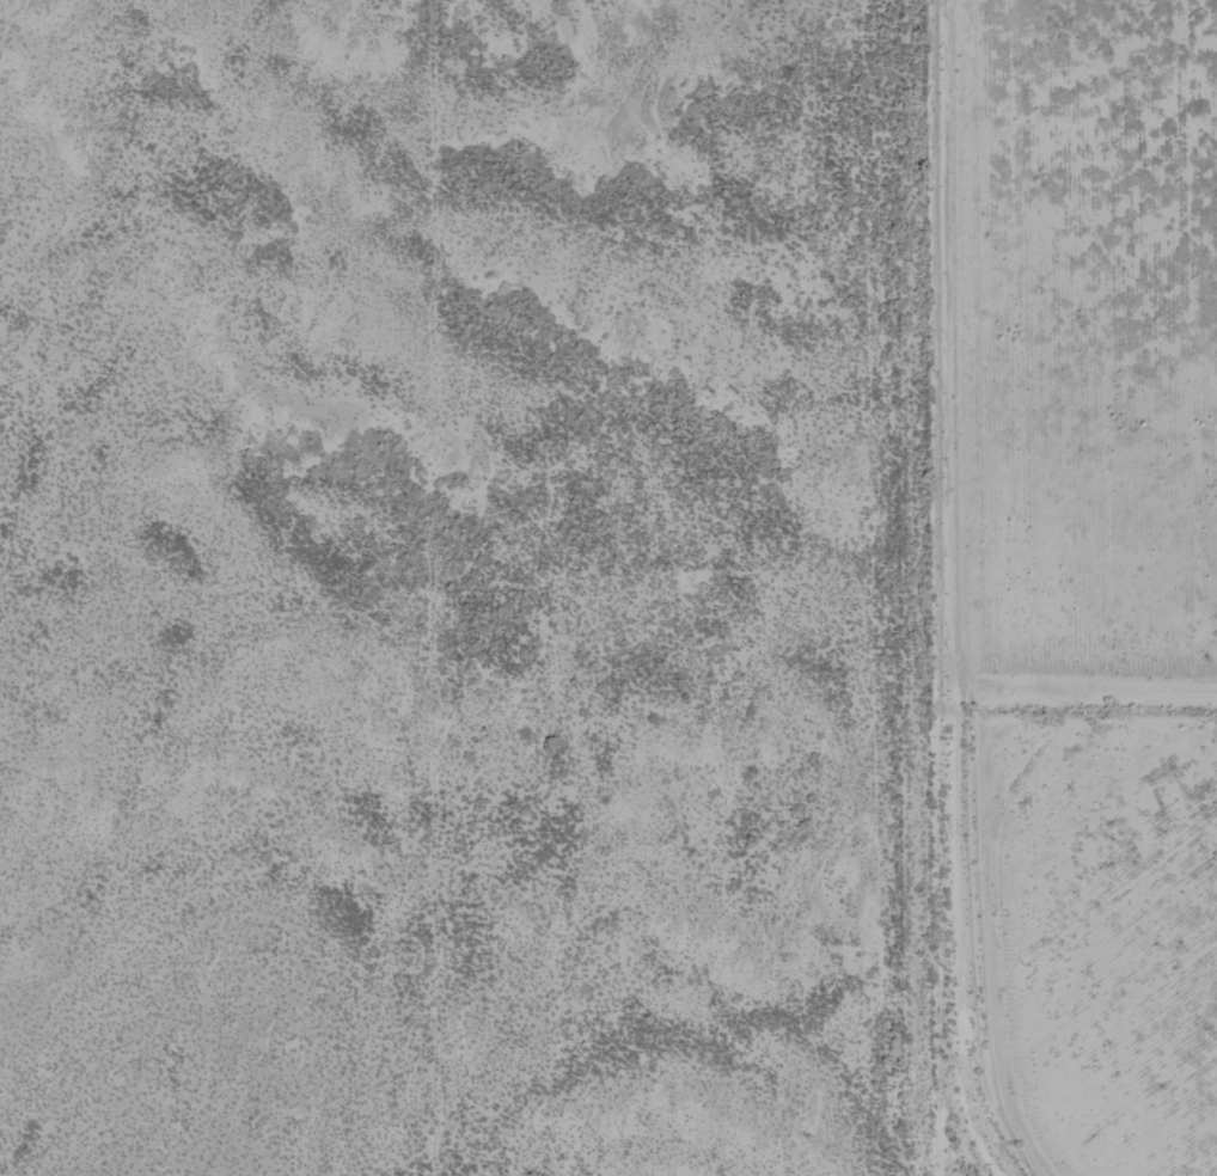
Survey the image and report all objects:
road: (967, 595)

